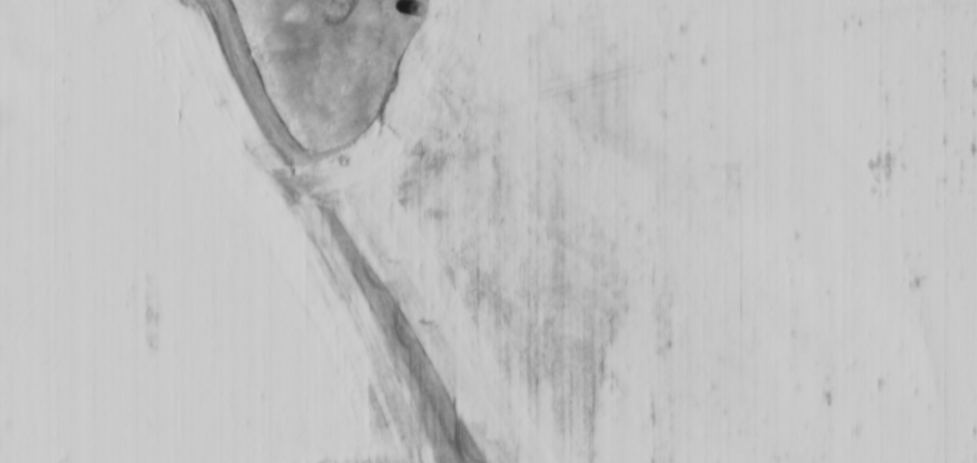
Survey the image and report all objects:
building: (416, 8)

